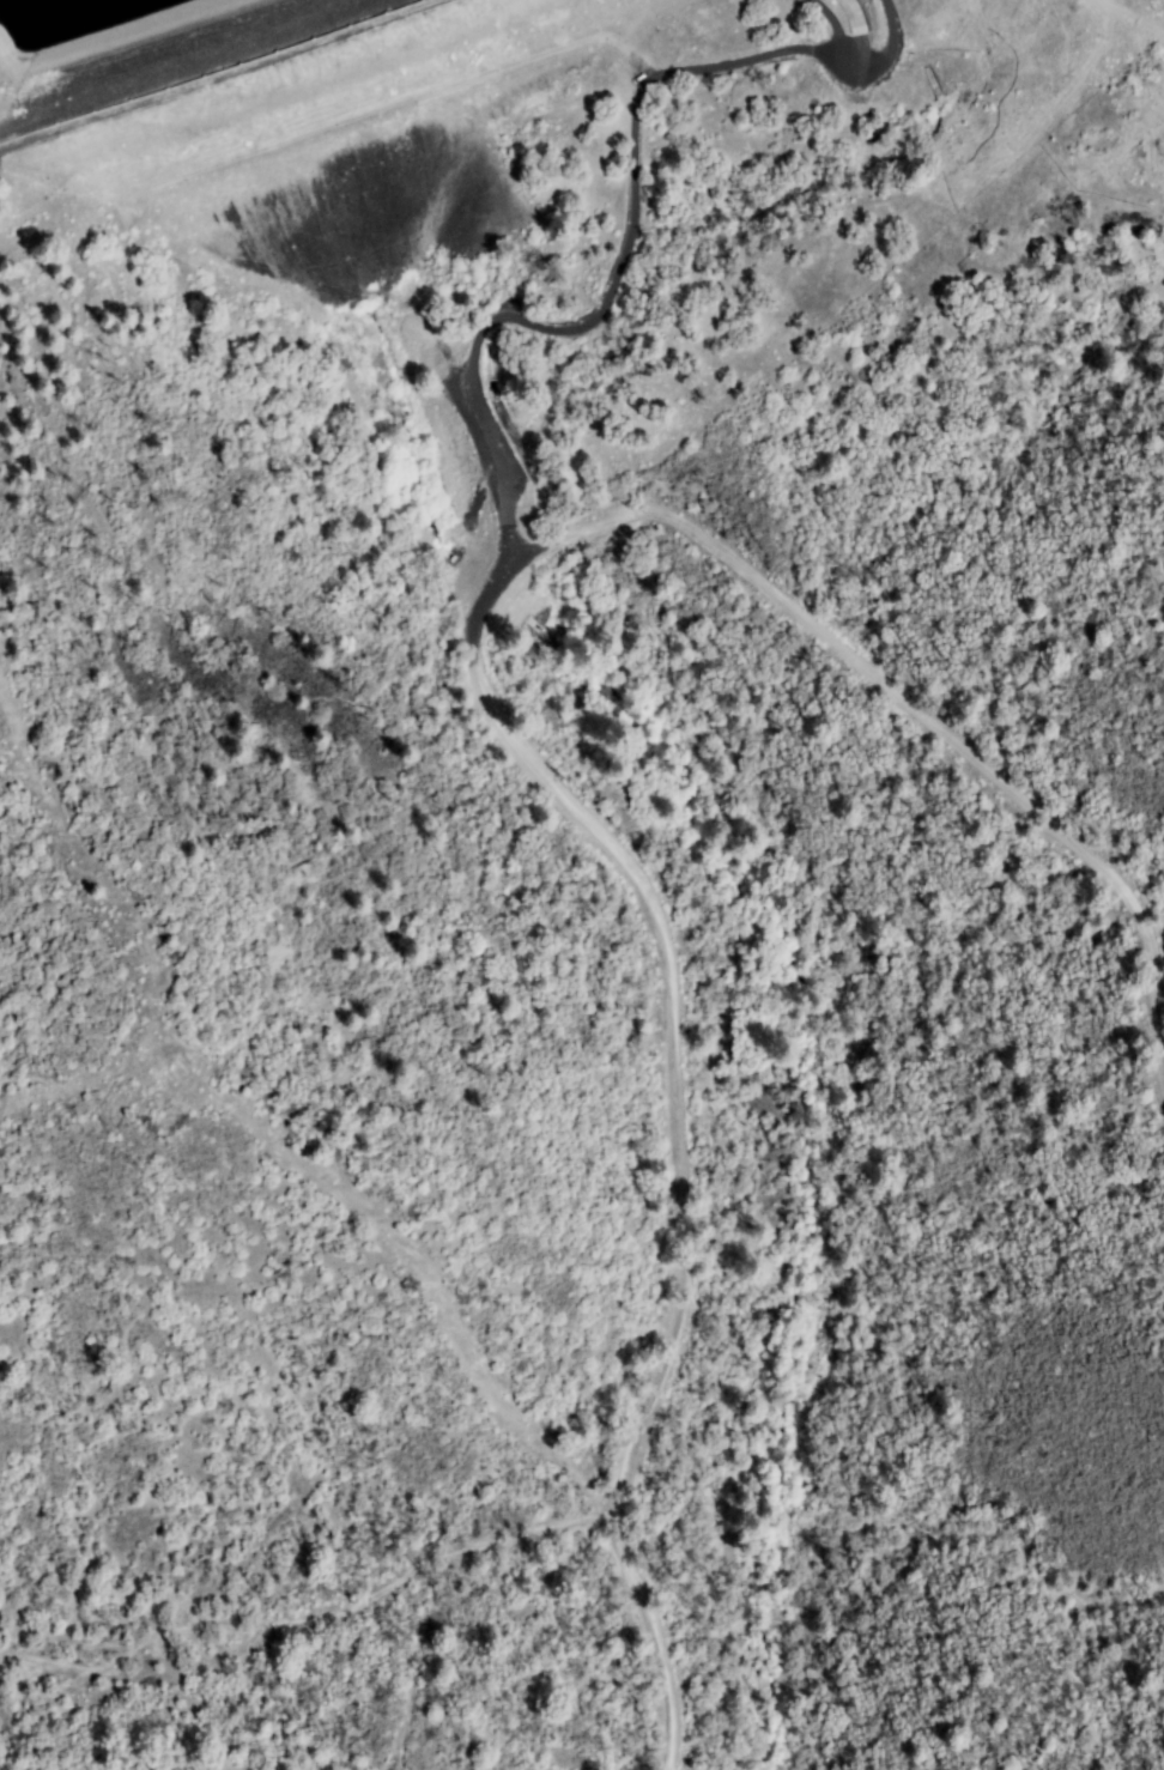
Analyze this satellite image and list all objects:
road: (859, 29)
road: (862, 59)
dam: (187, 63)
road: (220, 75)
road: (600, 314)
road: (504, 731)

